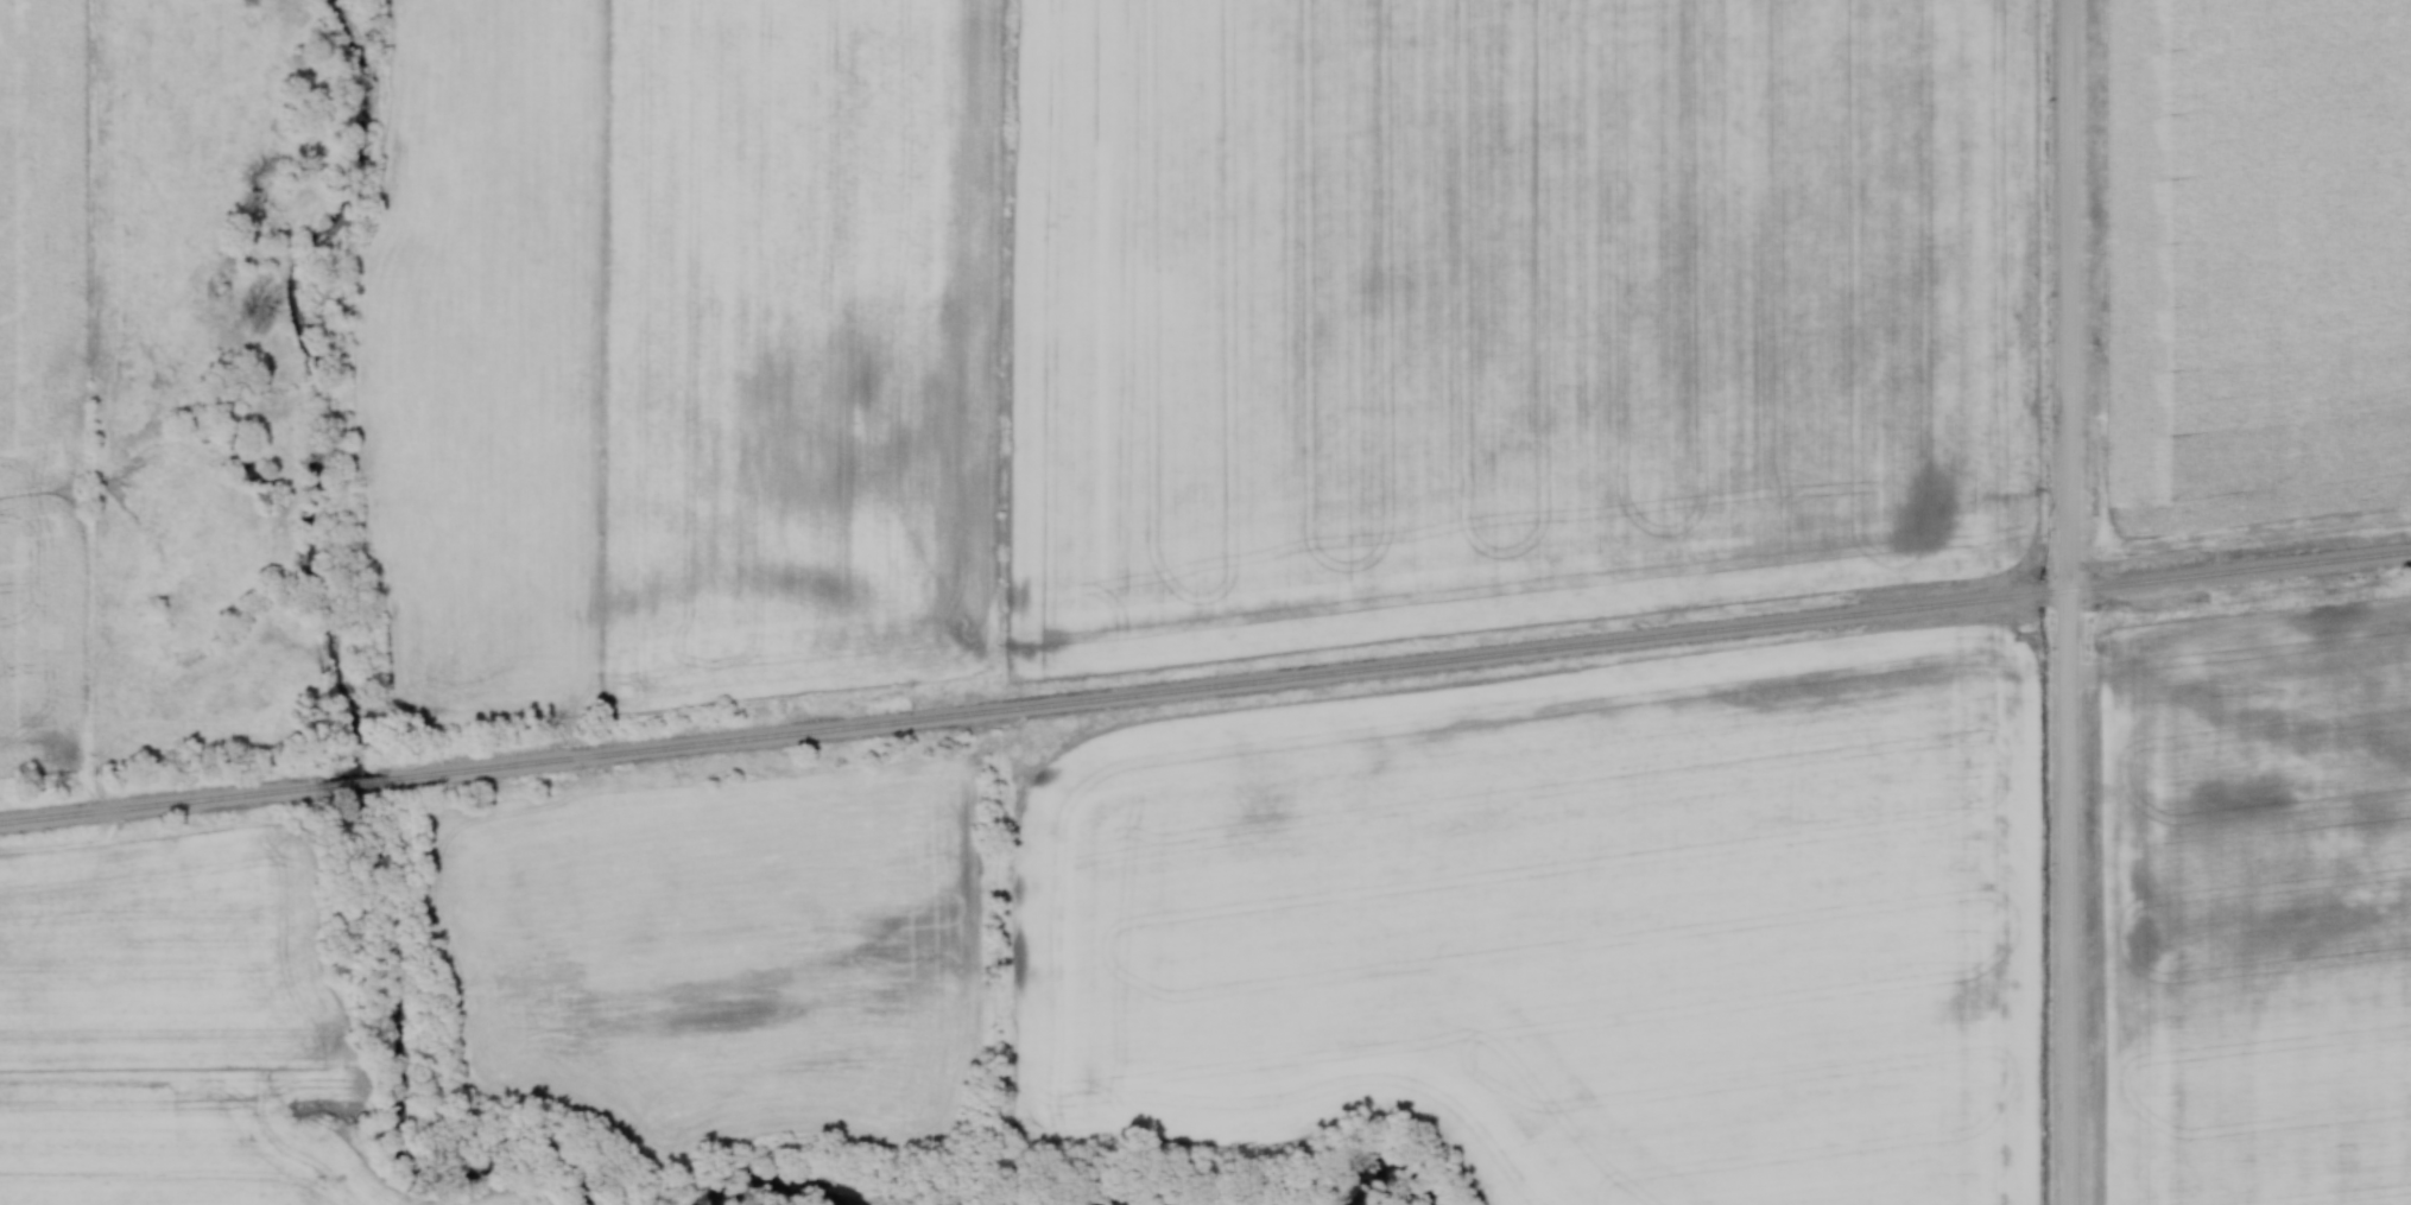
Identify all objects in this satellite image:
road: (2067, 602)
railway: (1204, 684)
river: (1378, 1166)
river: (785, 1180)
river: (1121, 1198)

